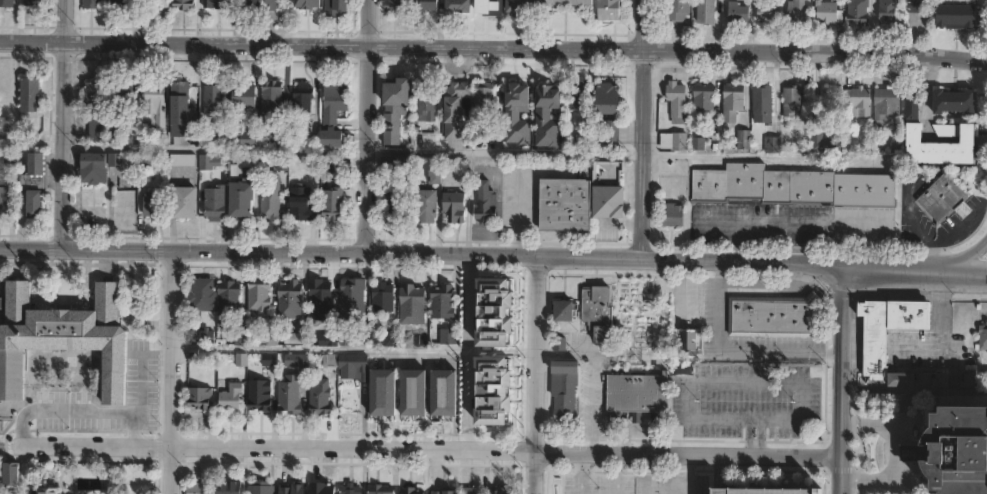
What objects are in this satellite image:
building: (251, 2)
building: (6, 3)
building: (30, 3)
building: (122, 3)
building: (92, 4)
building: (156, 4)
building: (215, 4)
building: (307, 4)
building: (561, 4)
building: (130, 5)
building: (184, 5)
building: (271, 5)
building: (426, 6)
building: (456, 6)
building: (914, 6)
building: (519, 7)
building: (336, 8)
building: (394, 8)
building: (486, 8)
building: (609, 10)
building: (678, 10)
building: (888, 11)
building: (706, 12)
building: (828, 12)
building: (769, 13)
building: (858, 13)
building: (738, 14)
building: (796, 14)
building: (953, 19)
road: (493, 48)
building: (30, 95)
building: (483, 96)
building: (577, 96)
building: (213, 97)
building: (241, 97)
building: (272, 97)
building: (303, 98)
building: (608, 100)
building: (703, 100)
building: (763, 101)
building: (858, 101)
building: (677, 103)
building: (733, 103)
building: (789, 103)
building: (888, 103)
building: (103, 104)
building: (156, 104)
building: (425, 104)
building: (951, 105)
building: (910, 106)
building: (393, 107)
building: (455, 111)
building: (187, 114)
building: (549, 115)
building: (333, 116)
building: (518, 116)
road: (61, 124)
building: (300, 127)
road: (364, 127)
road: (644, 130)
building: (131, 133)
building: (612, 133)
building: (249, 140)
building: (280, 140)
building: (744, 141)
building: (822, 141)
building: (674, 142)
building: (773, 142)
building: (698, 144)
building: (937, 147)
road: (212, 148)
road: (504, 152)
building: (115, 158)
building: (181, 160)
building: (208, 162)
building: (282, 163)
building: (308, 163)
building: (395, 164)
building: (242, 165)
building: (93, 169)
building: (33, 174)
building: (434, 178)
building: (607, 182)
building: (792, 187)
road: (520, 191)
building: (940, 197)
building: (123, 199)
building: (241, 199)
building: (4, 201)
building: (215, 202)
building: (270, 202)
building: (332, 202)
building: (184, 203)
building: (301, 203)
building: (485, 204)
building: (33, 206)
building: (425, 206)
building: (565, 206)
building: (153, 207)
parking lot: (969, 207)
building: (454, 208)
building: (395, 209)
building: (672, 214)
road: (912, 221)
road: (767, 224)
road: (950, 237)
road: (182, 252)
road: (963, 256)
road: (604, 260)
road: (915, 274)
building: (201, 292)
building: (259, 295)
building: (383, 297)
building: (290, 298)
building: (321, 298)
building: (228, 299)
building: (352, 299)
building: (442, 301)
building: (412, 304)
building: (564, 310)
building: (494, 311)
building: (598, 311)
building: (775, 315)
road: (939, 334)
building: (201, 336)
building: (295, 337)
building: (983, 337)
building: (268, 338)
building: (689, 338)
building: (62, 339)
building: (328, 339)
road: (921, 347)
building: (876, 348)
road: (355, 349)
road: (740, 352)
road: (464, 354)
building: (269, 360)
building: (297, 360)
building: (330, 360)
building: (355, 364)
road: (171, 372)
road: (538, 376)
road: (592, 376)
building: (932, 378)
building: (969, 379)
road: (138, 382)
road: (718, 382)
road: (841, 383)
building: (496, 388)
building: (564, 388)
building: (382, 391)
road: (914, 391)
building: (413, 392)
building: (444, 392)
building: (637, 393)
building: (259, 394)
building: (290, 394)
building: (320, 396)
building: (199, 397)
building: (230, 397)
road: (80, 409)
building: (954, 449)
road: (430, 451)
road: (894, 453)
building: (9, 474)
road: (654, 475)
road: (692, 476)
building: (229, 487)
building: (199, 488)
building: (261, 488)
building: (292, 488)
building: (319, 489)
building: (380, 489)
building: (350, 490)
building: (412, 490)
building: (446, 490)
building: (472, 490)
building: (502, 490)
building: (761, 490)
parking garage: (761, 490)
building: (47, 491)

